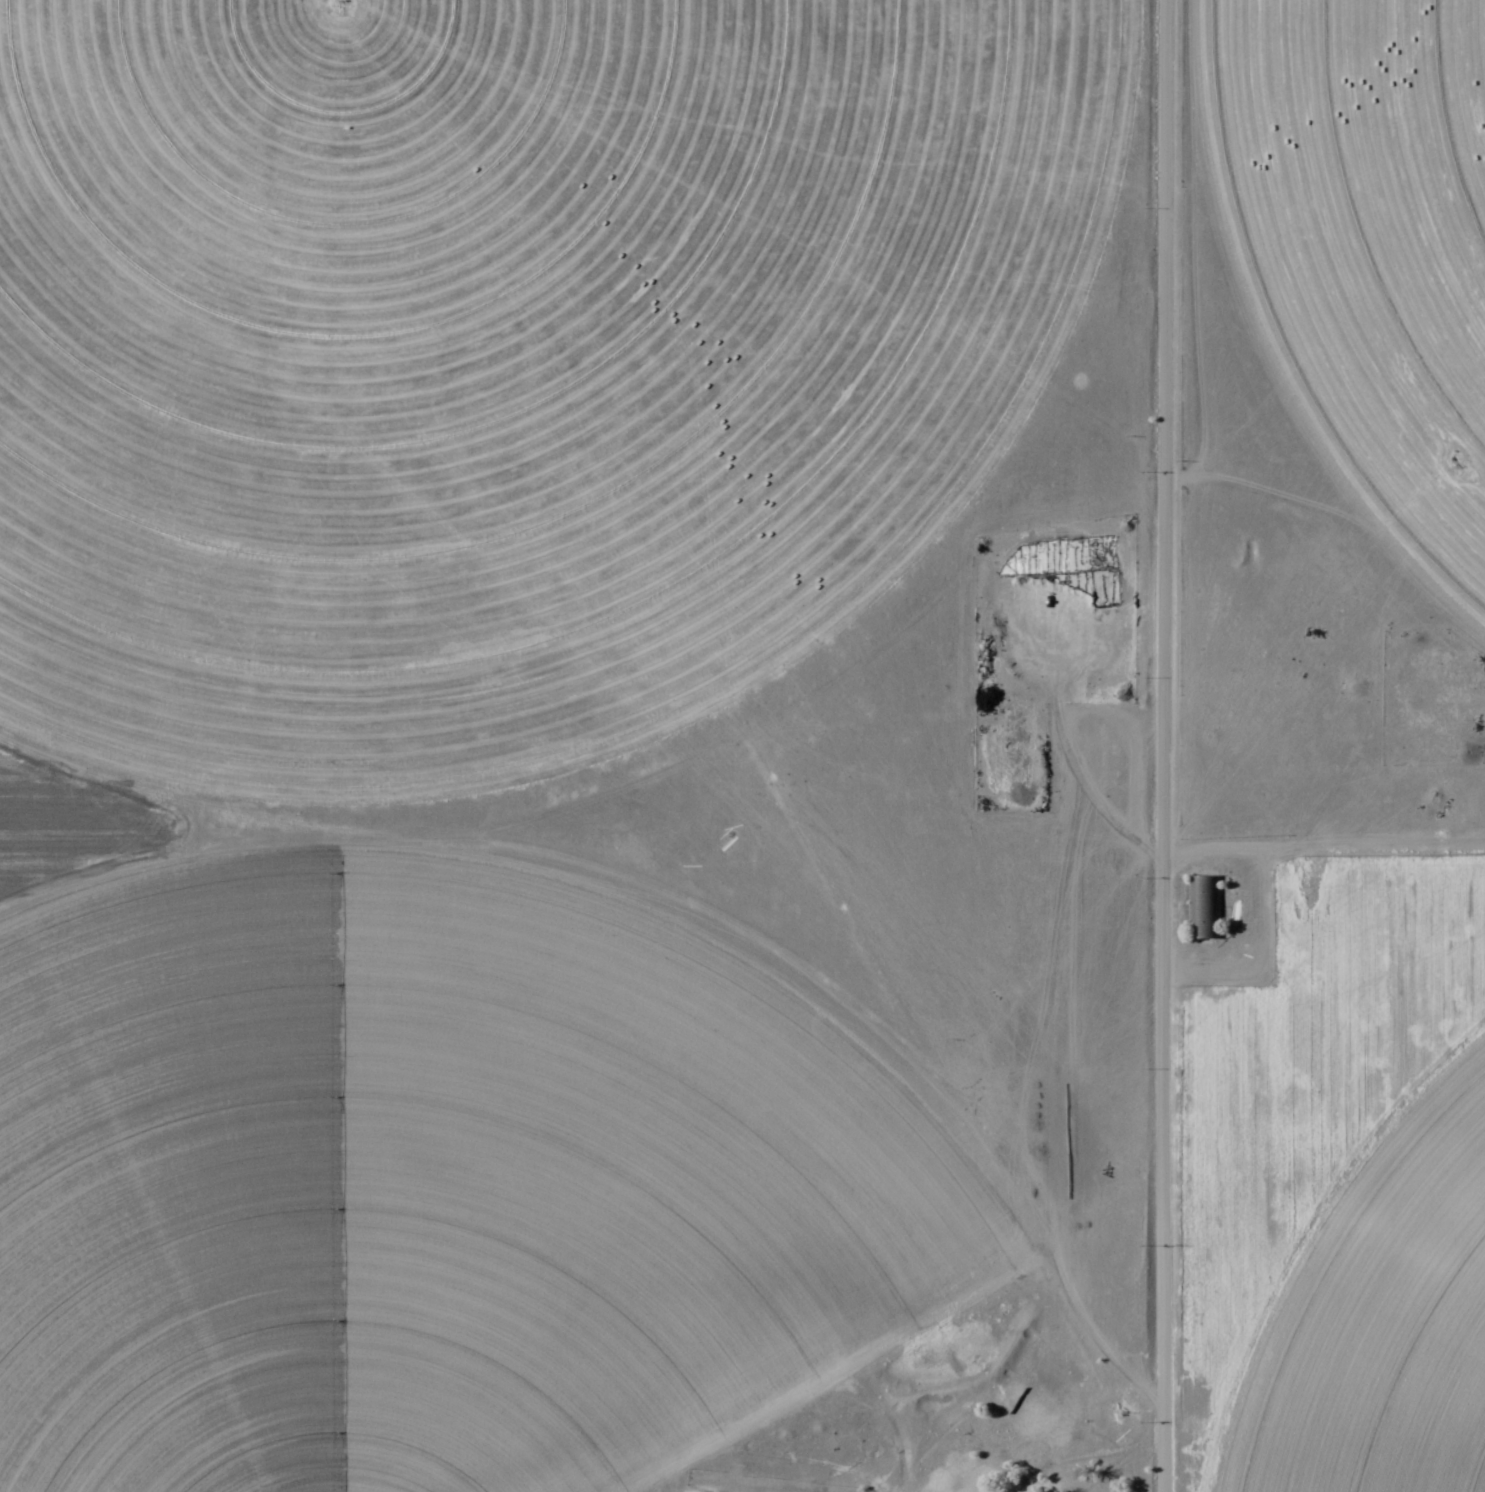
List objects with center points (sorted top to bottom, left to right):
crop: (507, 355)
road: (1177, 745)
building: (1204, 909)

